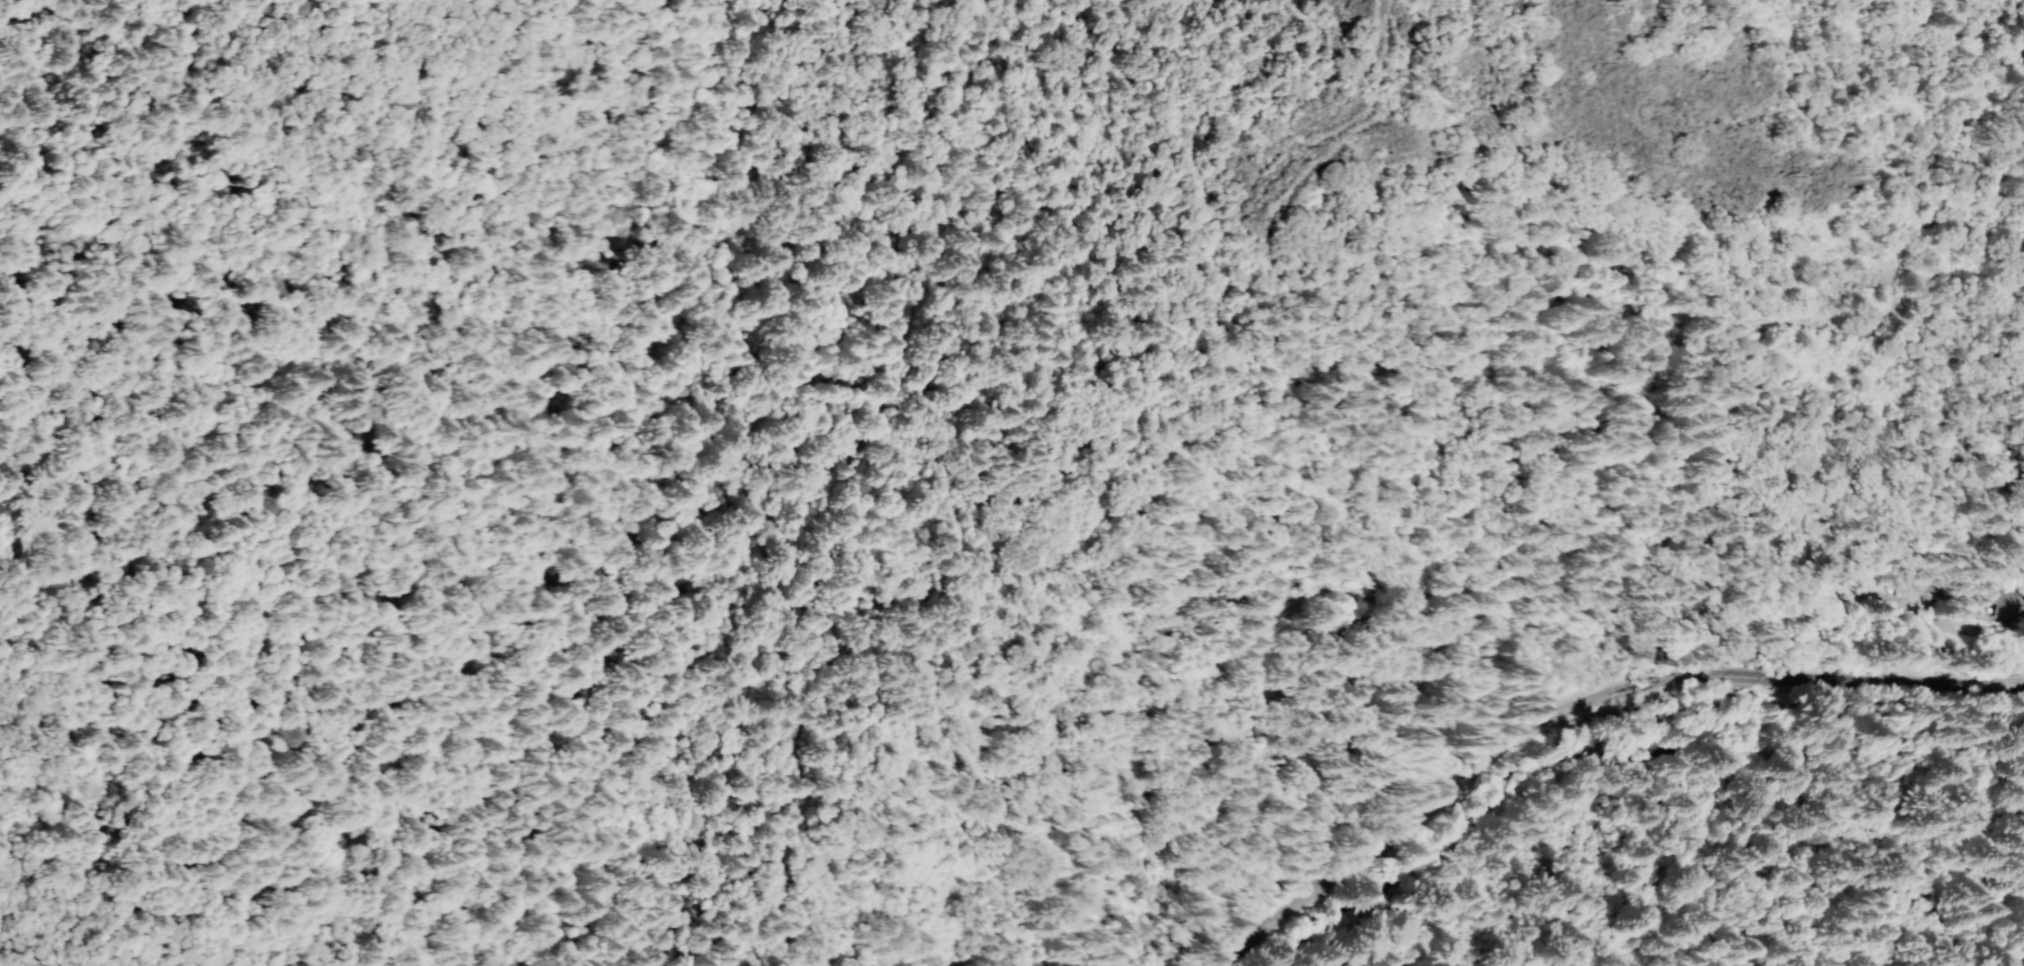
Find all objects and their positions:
road: (992, 197)
road: (1425, 279)
building: (1948, 590)
building: (2011, 603)
building: (1989, 615)
road: (1761, 676)
road: (1900, 677)
road: (1468, 786)
road: (939, 829)

